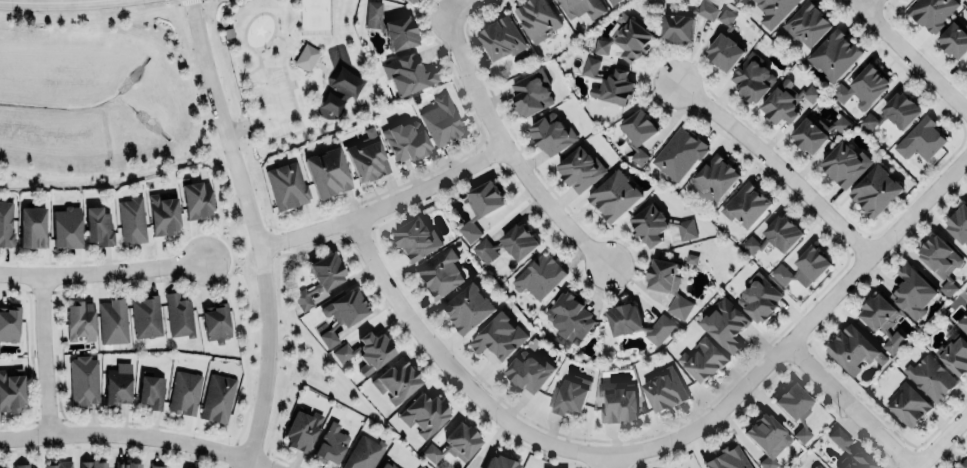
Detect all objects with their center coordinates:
building: (409, 1)
building: (613, 1)
road: (50, 2)
road: (171, 3)
road: (183, 3)
road: (887, 5)
road: (869, 6)
road: (460, 7)
building: (580, 8)
building: (773, 10)
building: (707, 11)
building: (932, 12)
road: (300, 15)
building: (726, 17)
building: (537, 18)
road: (86, 21)
building: (807, 23)
building: (391, 26)
building: (677, 27)
road: (272, 35)
building: (501, 37)
road: (288, 38)
building: (627, 38)
building: (954, 39)
road: (282, 49)
building: (724, 52)
road: (917, 52)
building: (835, 54)
road: (909, 55)
building: (306, 57)
road: (259, 64)
road: (322, 65)
park: (299, 70)
building: (408, 73)
building: (752, 78)
building: (346, 81)
building: (608, 82)
building: (863, 87)
road: (291, 89)
building: (530, 94)
parking lot: (272, 101)
building: (786, 101)
building: (331, 103)
building: (901, 110)
building: (441, 121)
road: (320, 123)
building: (638, 132)
building: (816, 132)
building: (551, 133)
building: (405, 140)
building: (920, 140)
road: (509, 152)
building: (679, 153)
building: (367, 157)
road: (169, 160)
building: (845, 163)
road: (778, 165)
building: (579, 169)
building: (328, 171)
building: (715, 177)
building: (287, 185)
building: (875, 190)
building: (614, 196)
building: (197, 199)
building: (745, 205)
road: (388, 206)
building: (480, 207)
building: (163, 214)
building: (132, 220)
building: (6, 224)
building: (649, 224)
building: (959, 224)
building: (99, 226)
building: (32, 227)
building: (66, 227)
building: (686, 229)
road: (258, 231)
building: (782, 232)
building: (416, 239)
building: (510, 243)
building: (750, 245)
building: (966, 256)
road: (221, 257)
building: (690, 259)
building: (940, 261)
building: (804, 267)
road: (104, 272)
building: (440, 273)
building: (539, 276)
building: (320, 278)
building: (668, 286)
road: (249, 288)
building: (912, 291)
building: (759, 298)
building: (966, 302)
building: (468, 308)
building: (342, 312)
building: (146, 316)
building: (179, 316)
building: (569, 318)
building: (80, 319)
building: (9, 321)
building: (112, 321)
building: (882, 321)
building: (216, 322)
building: (636, 322)
building: (962, 322)
building: (725, 324)
road: (803, 328)
building: (499, 336)
building: (854, 350)
building: (367, 351)
building: (954, 354)
road: (45, 358)
building: (702, 360)
road: (455, 372)
building: (528, 372)
building: (930, 377)
building: (84, 380)
building: (396, 380)
building: (117, 383)
building: (664, 390)
building: (11, 391)
building: (151, 391)
building: (185, 392)
building: (568, 396)
building: (217, 398)
building: (907, 404)
building: (619, 406)
building: (795, 407)
road: (849, 407)
building: (423, 415)
building: (302, 429)
road: (135, 436)
building: (767, 438)
road: (939, 439)
building: (455, 443)
building: (331, 444)
building: (848, 451)
building: (363, 453)
building: (499, 462)
road: (612, 462)
building: (93, 464)
building: (388, 464)
building: (964, 464)
building: (21, 465)
building: (59, 465)
building: (126, 465)
building: (155, 466)
building: (817, 466)
building: (3, 467)

